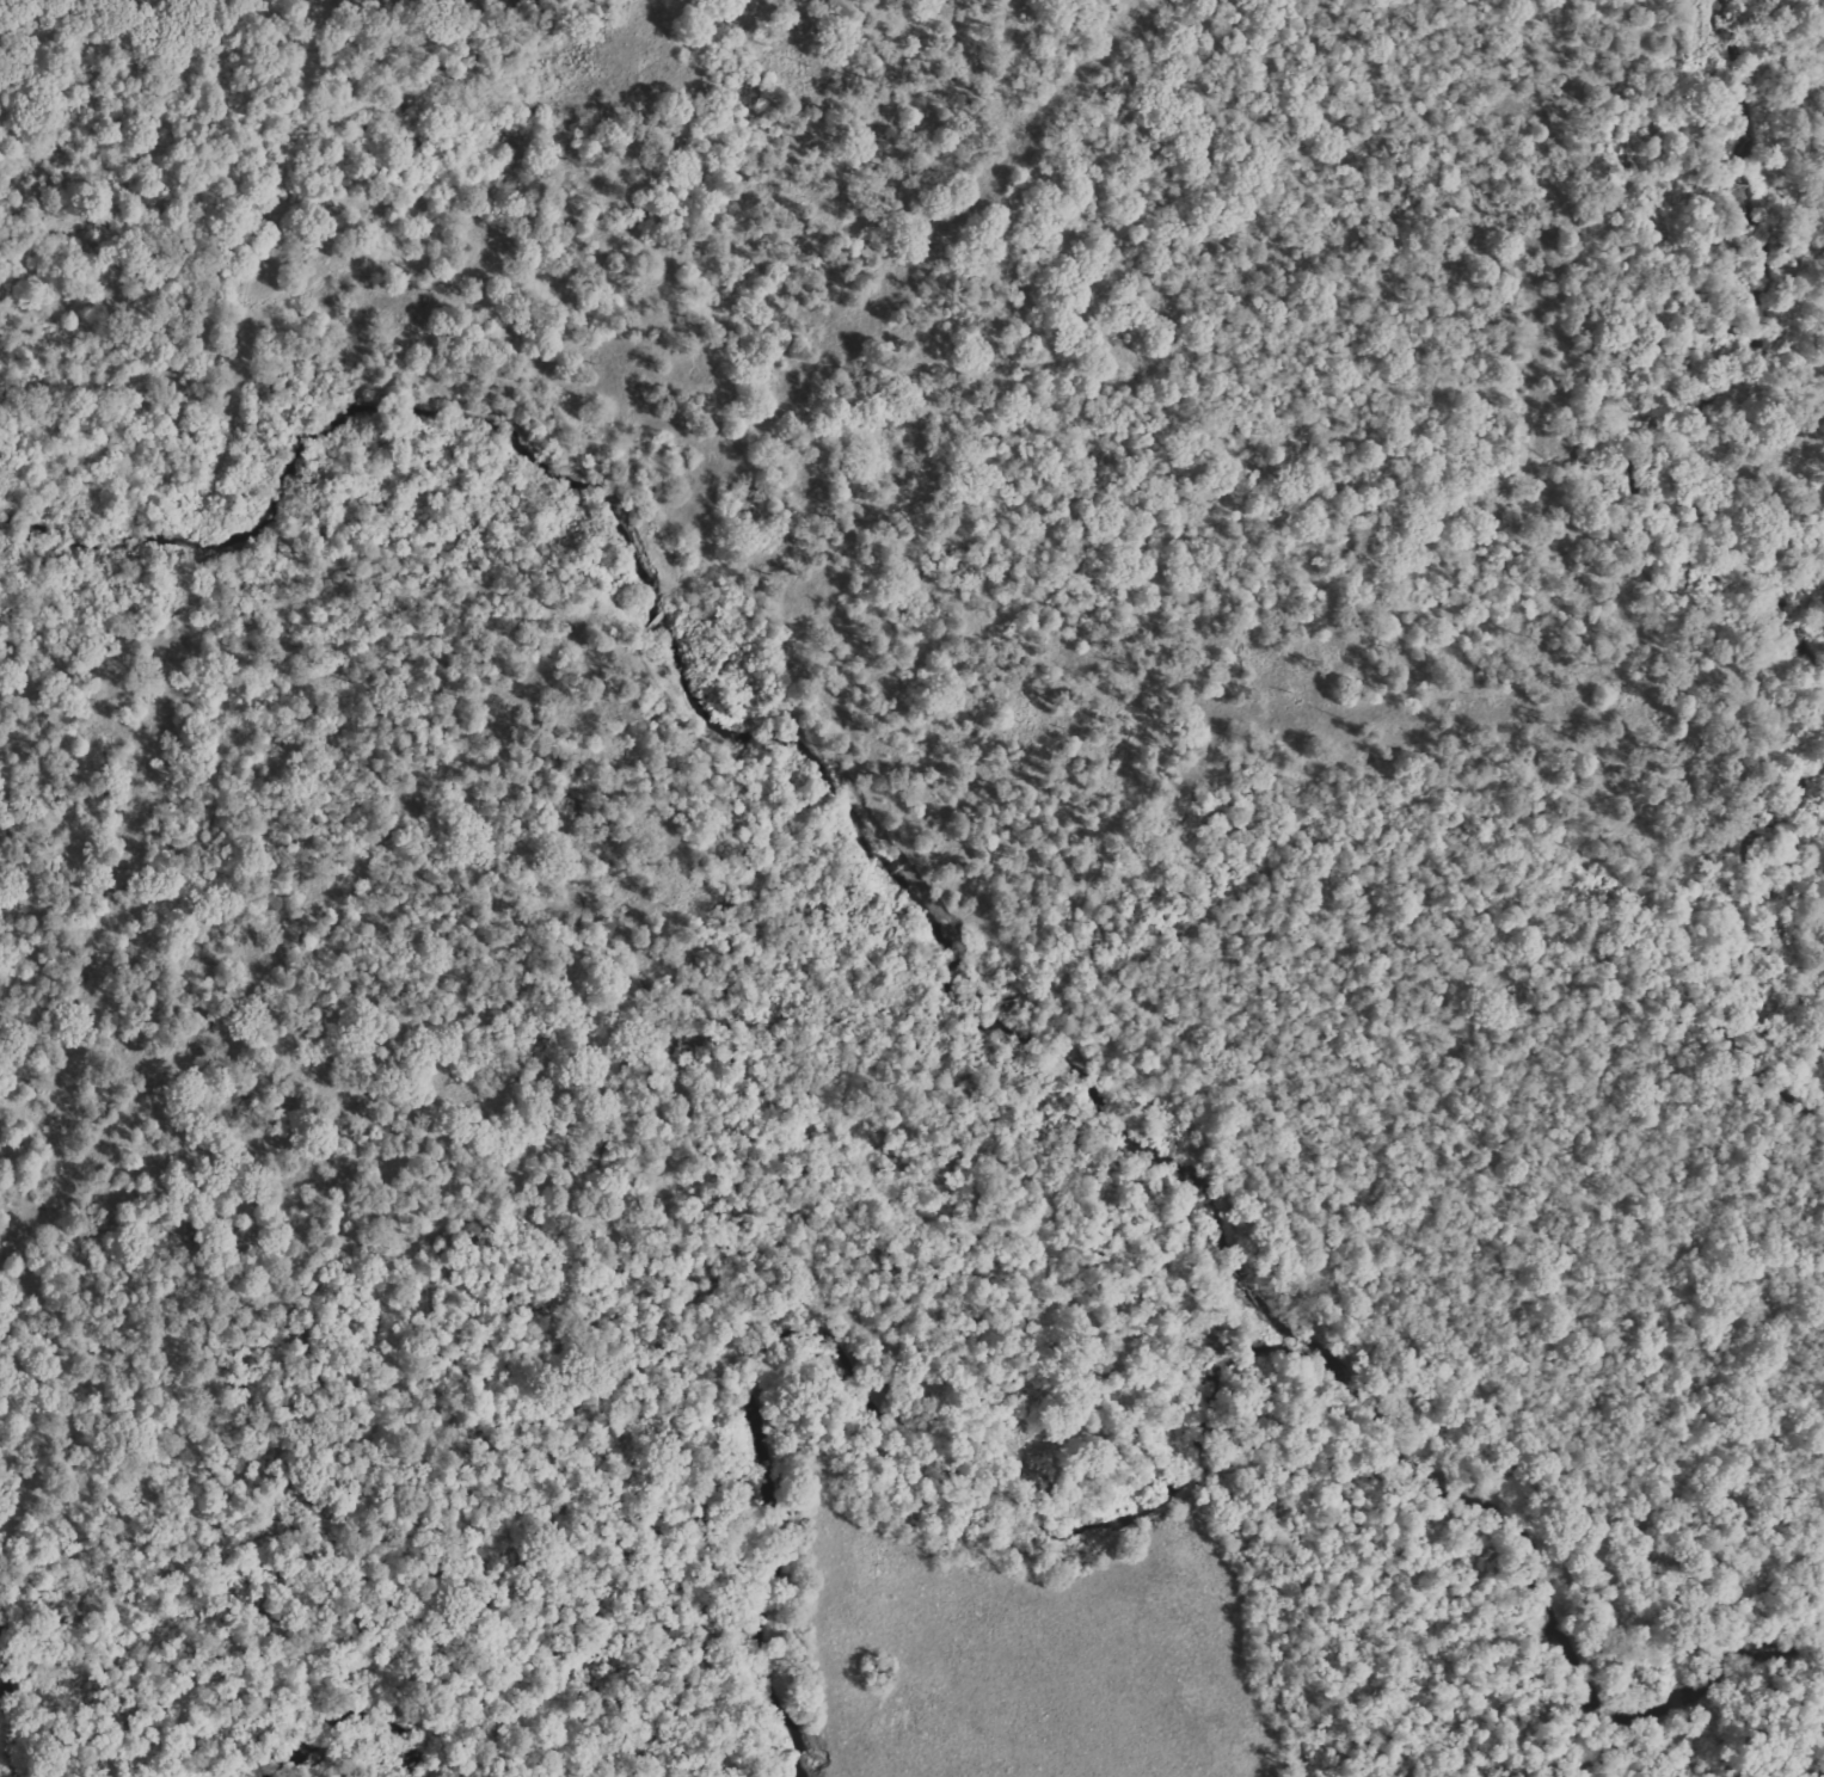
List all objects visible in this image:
river: (1179, 1487)
river: (18, 1680)
river: (364, 1718)

